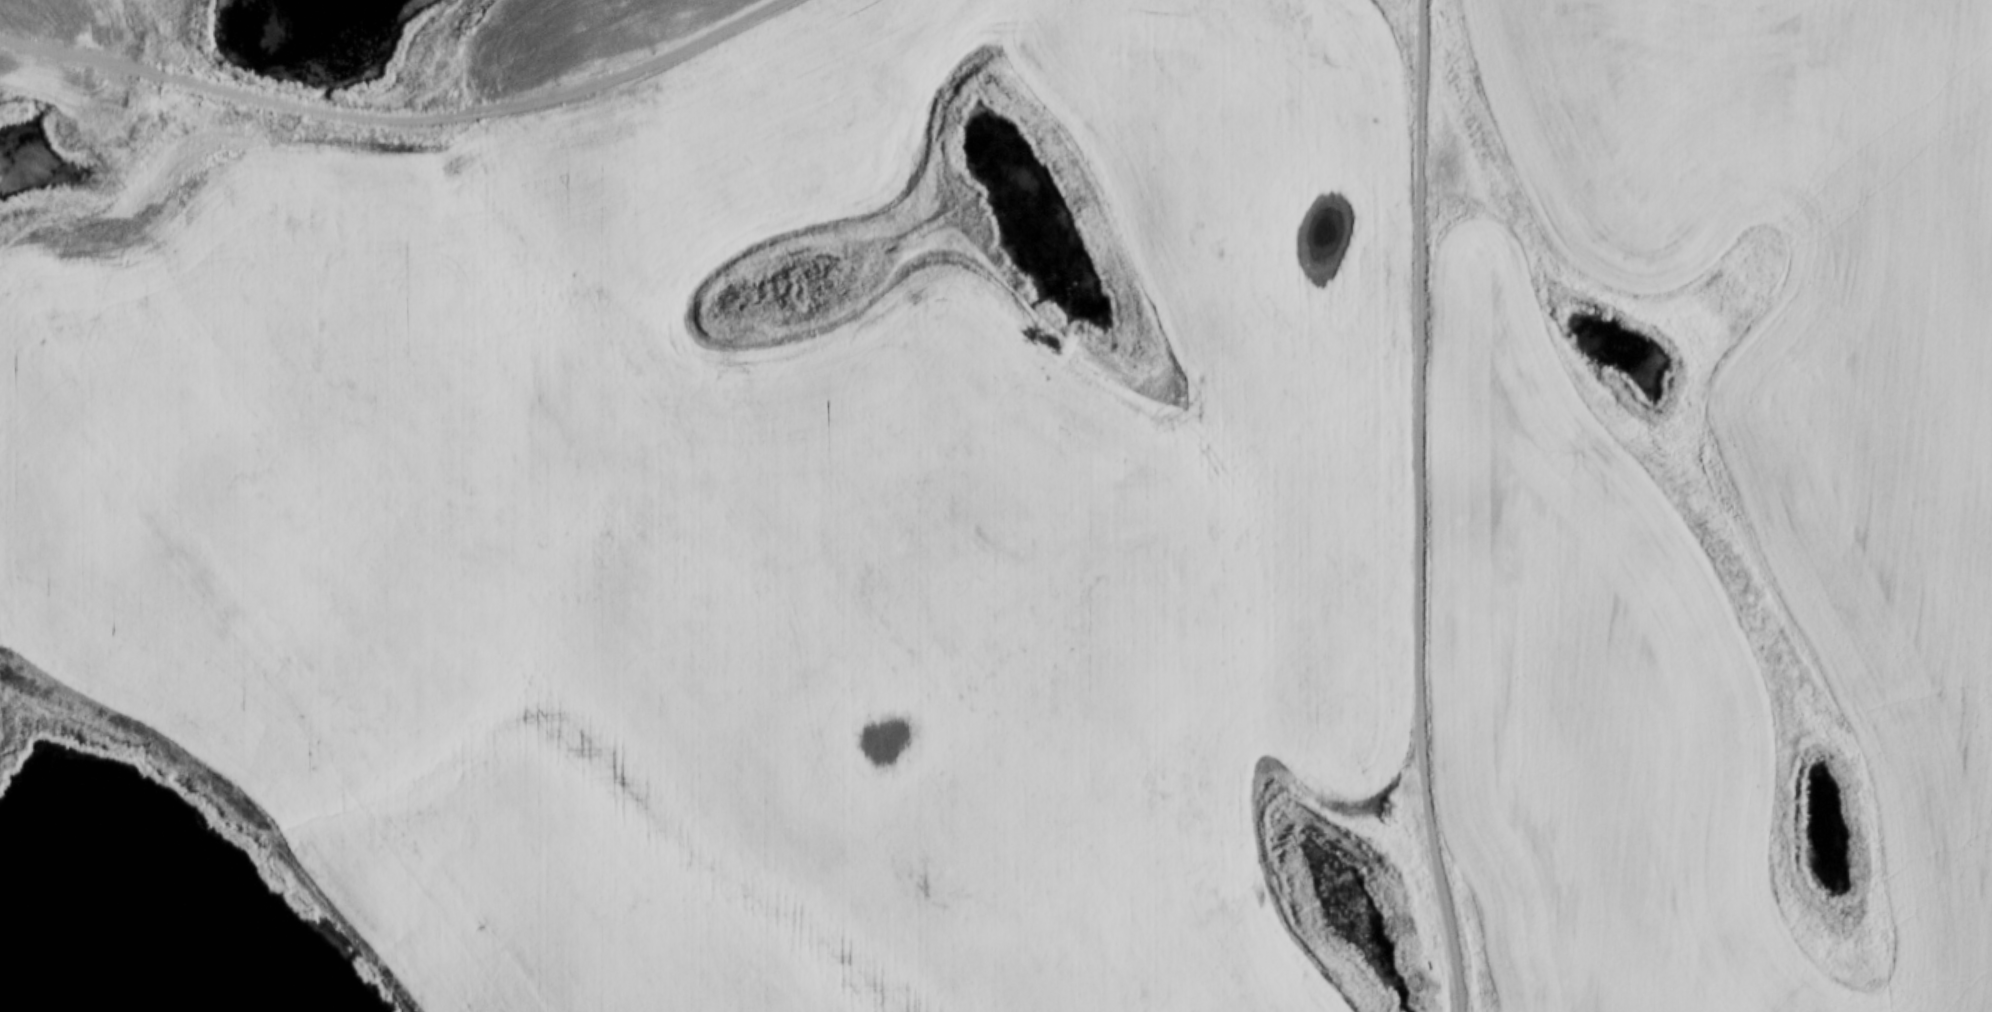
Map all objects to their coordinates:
road: (372, 118)
road: (1419, 507)

